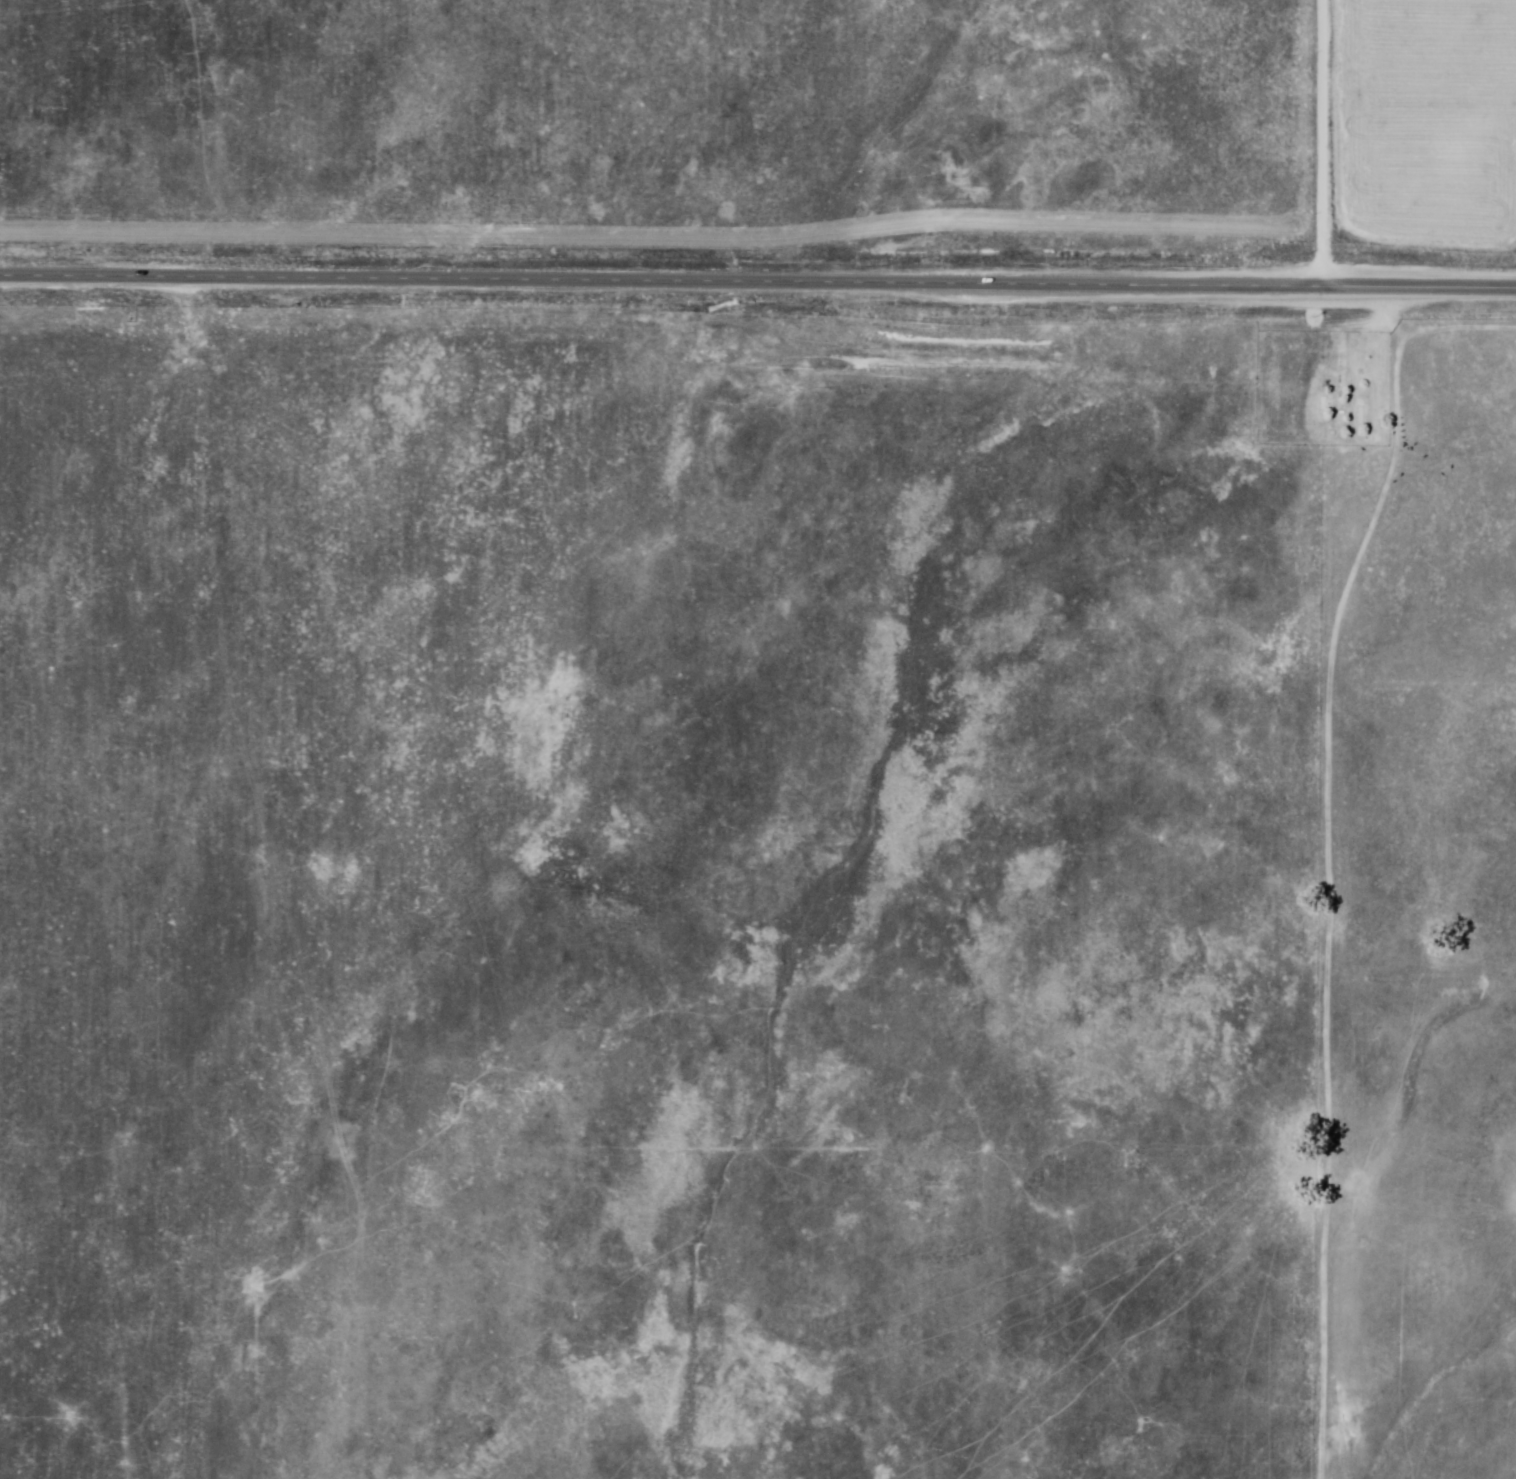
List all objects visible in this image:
road: (1318, 145)
road: (757, 284)
park: (1321, 377)

